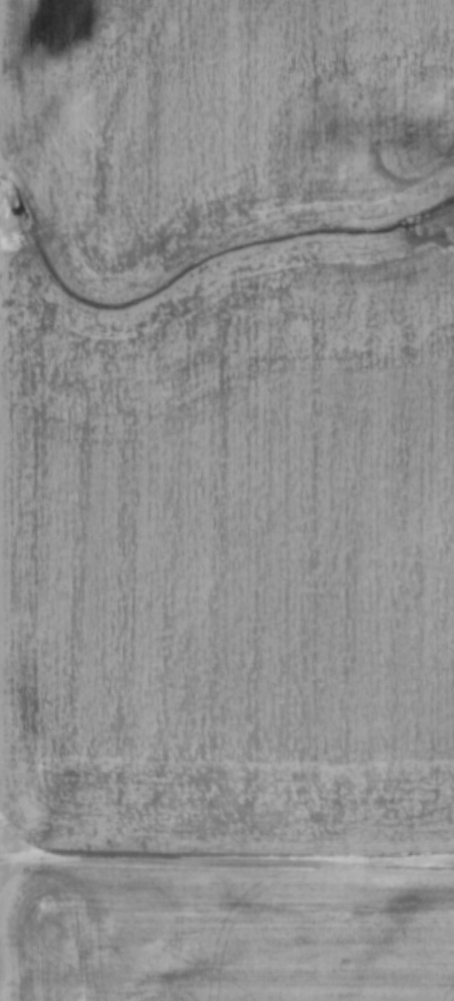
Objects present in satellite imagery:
road: (227, 855)

